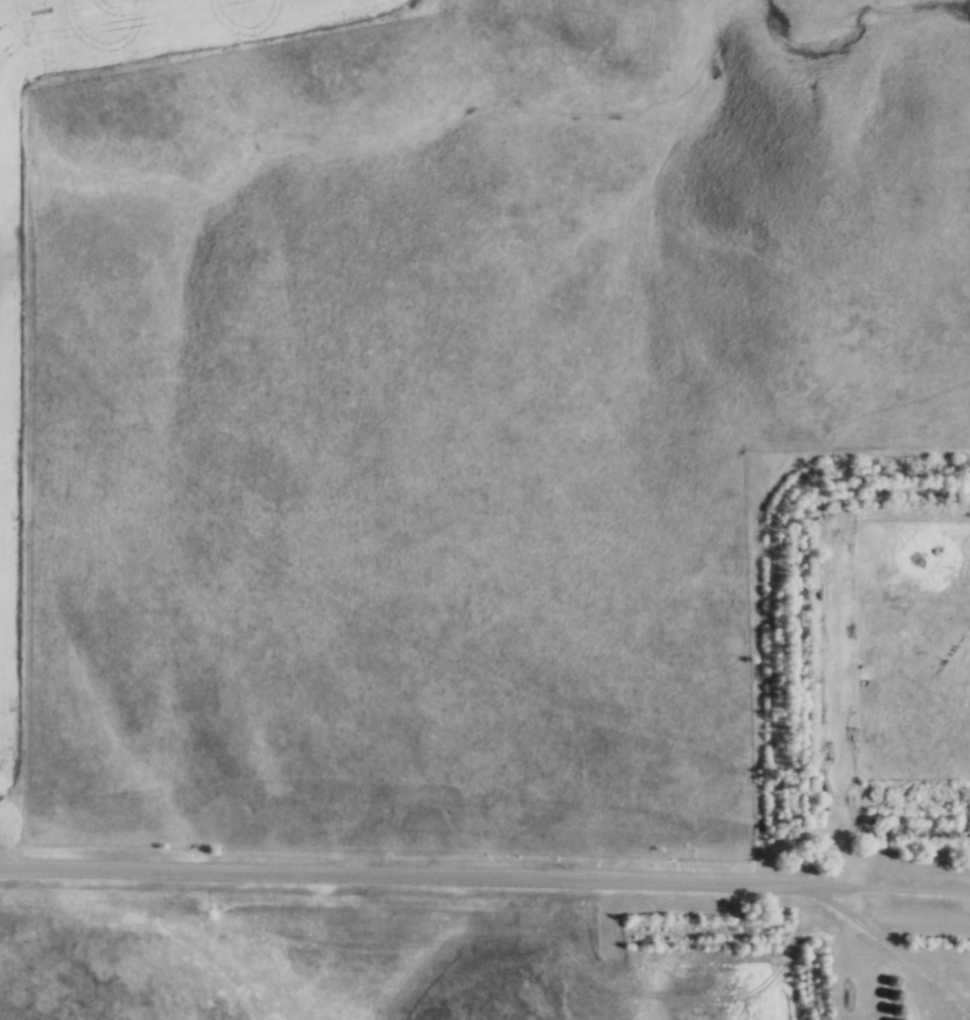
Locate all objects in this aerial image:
road: (485, 875)

